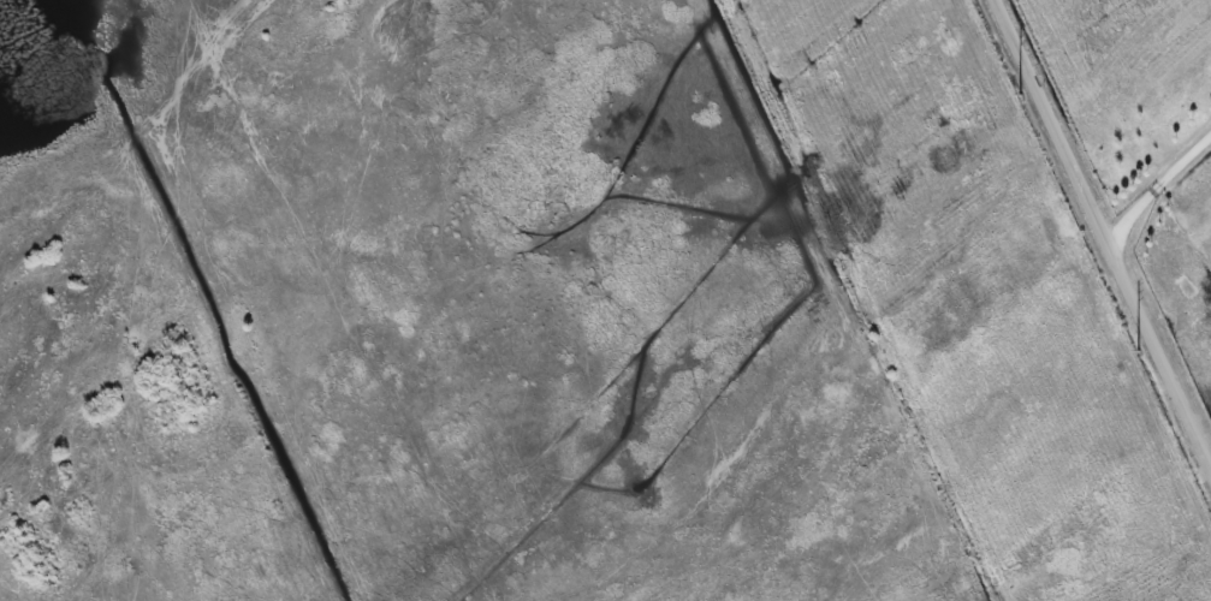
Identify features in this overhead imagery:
road: (1157, 188)
road: (1103, 231)

